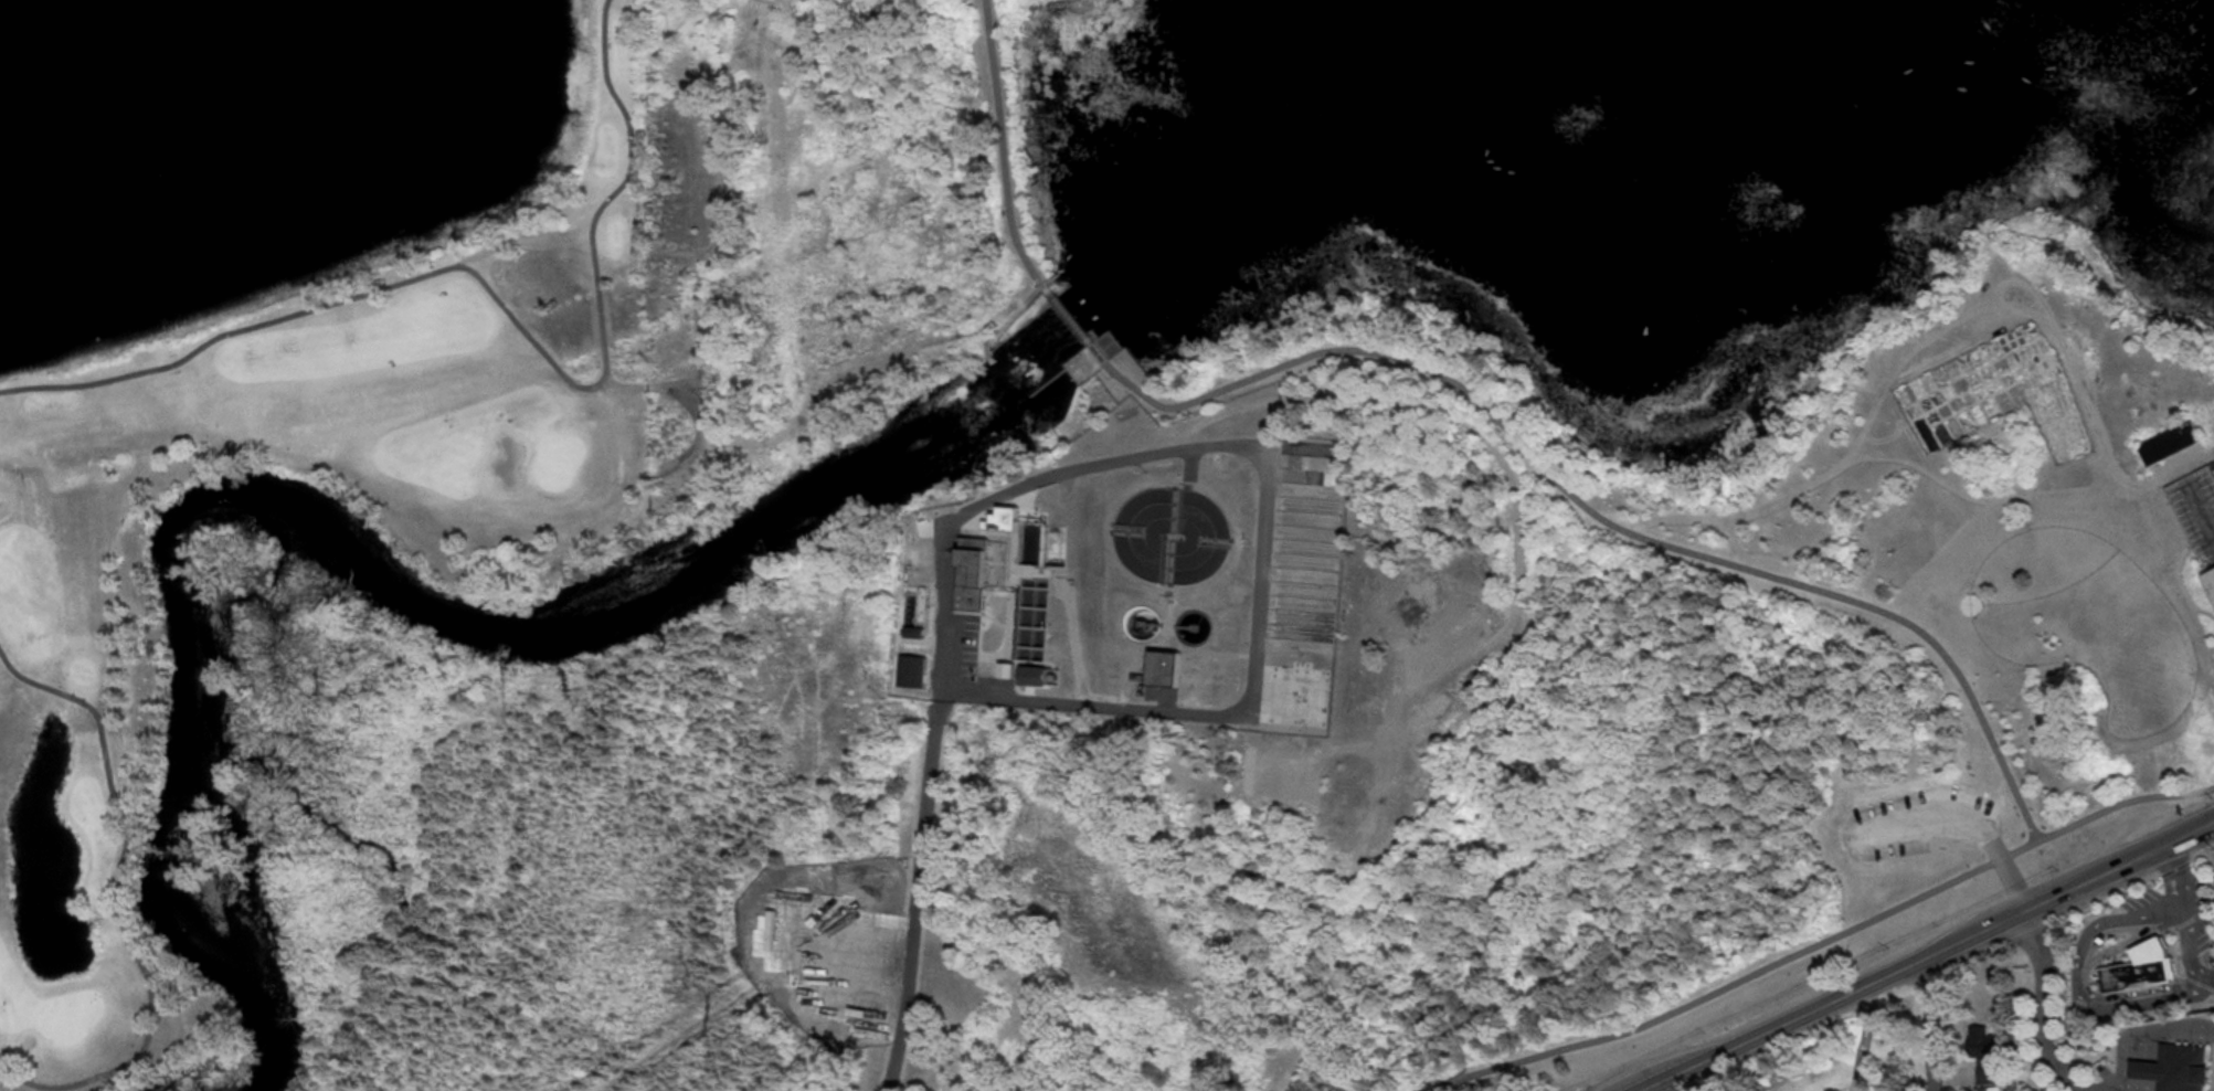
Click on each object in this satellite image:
river: (1622, 78)
road: (1005, 152)
road: (718, 232)
road: (525, 237)
road: (690, 263)
road: (2001, 279)
road: (500, 299)
dam: (1079, 314)
road: (1073, 318)
road: (996, 329)
road: (1106, 343)
road: (869, 359)
road: (1085, 359)
building: (1084, 364)
road: (648, 382)
park: (274, 394)
building: (2170, 439)
road: (2107, 453)
road: (1837, 466)
road: (1265, 486)
road: (1985, 497)
road: (2201, 505)
road: (1591, 511)
building: (1005, 517)
river: (357, 552)
wastewater plant: (1136, 568)
building: (971, 571)
building: (2208, 578)
building: (913, 629)
park: (1861, 661)
building: (1161, 666)
building: (912, 669)
building: (1031, 672)
park: (862, 703)
road: (1823, 706)
road: (1958, 817)
parking lot: (1916, 822)
road: (2212, 824)
road: (2123, 887)
road: (919, 890)
road: (112, 901)
road: (2183, 921)
road: (1841, 931)
road: (1921, 956)
building: (2140, 966)
road: (2076, 977)
road: (2040, 1006)
road: (1928, 1024)
road: (2164, 1030)
road: (1864, 1037)
building: (1987, 1051)
road: (2140, 1067)
building: (2179, 1067)
road: (1449, 1082)
road: (2139, 1083)

